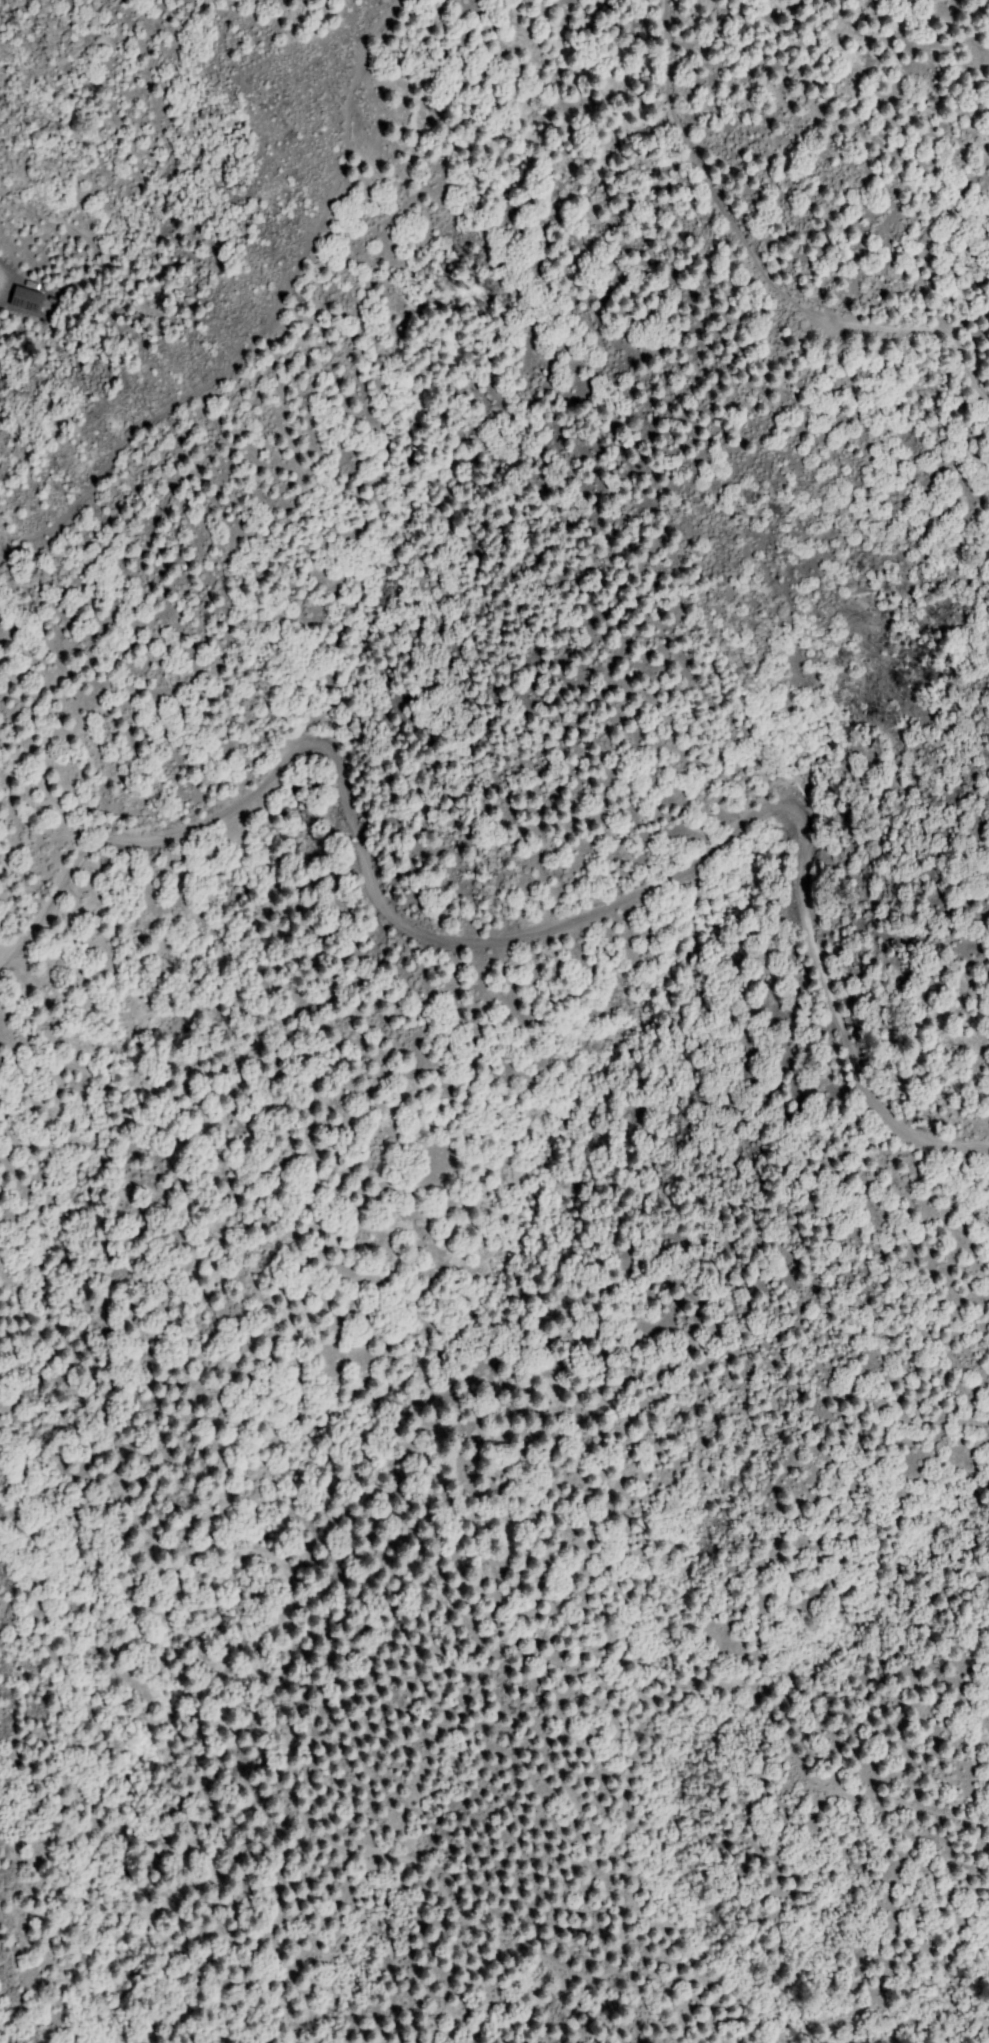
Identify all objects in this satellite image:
building: (26, 301)
road: (512, 951)

